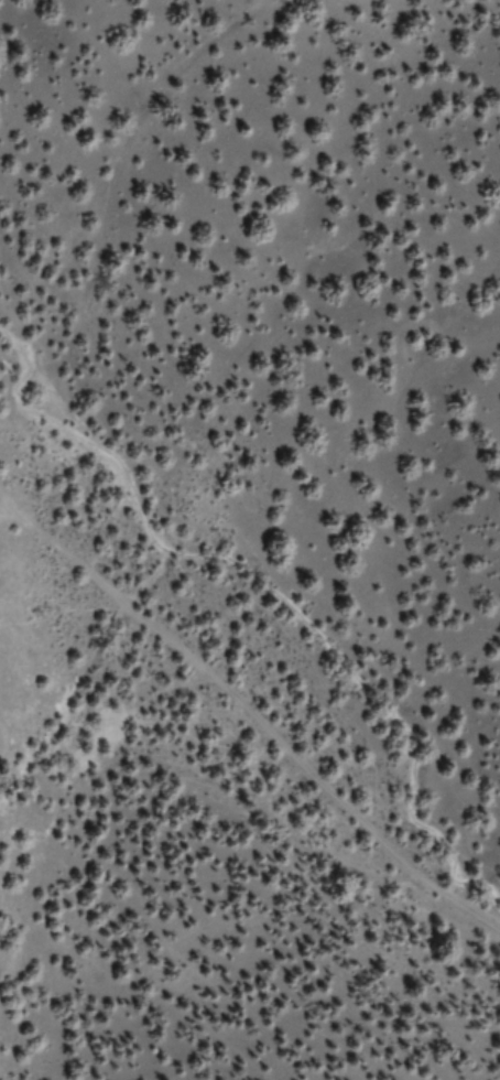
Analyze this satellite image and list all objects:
road: (118, 149)
road: (254, 717)

